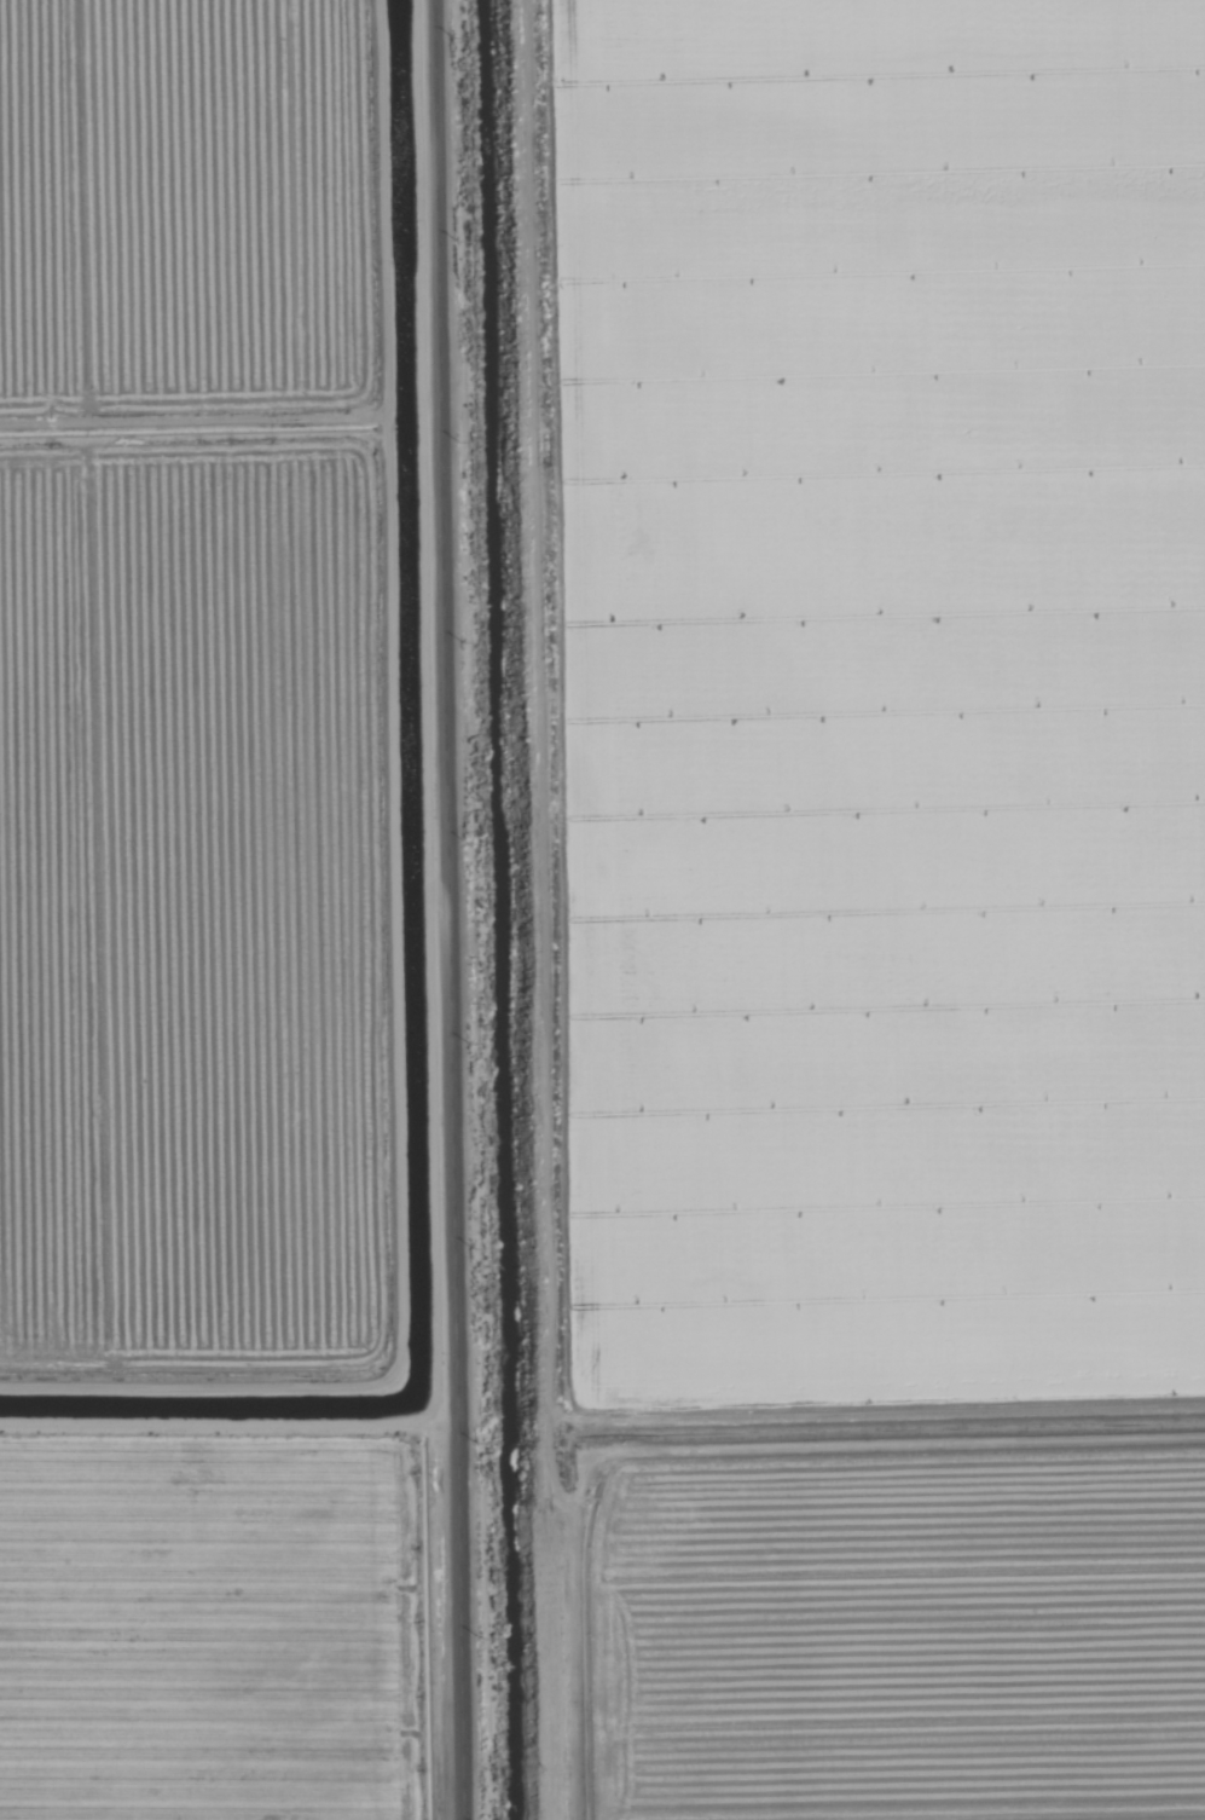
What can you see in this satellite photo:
road: (452, 909)

